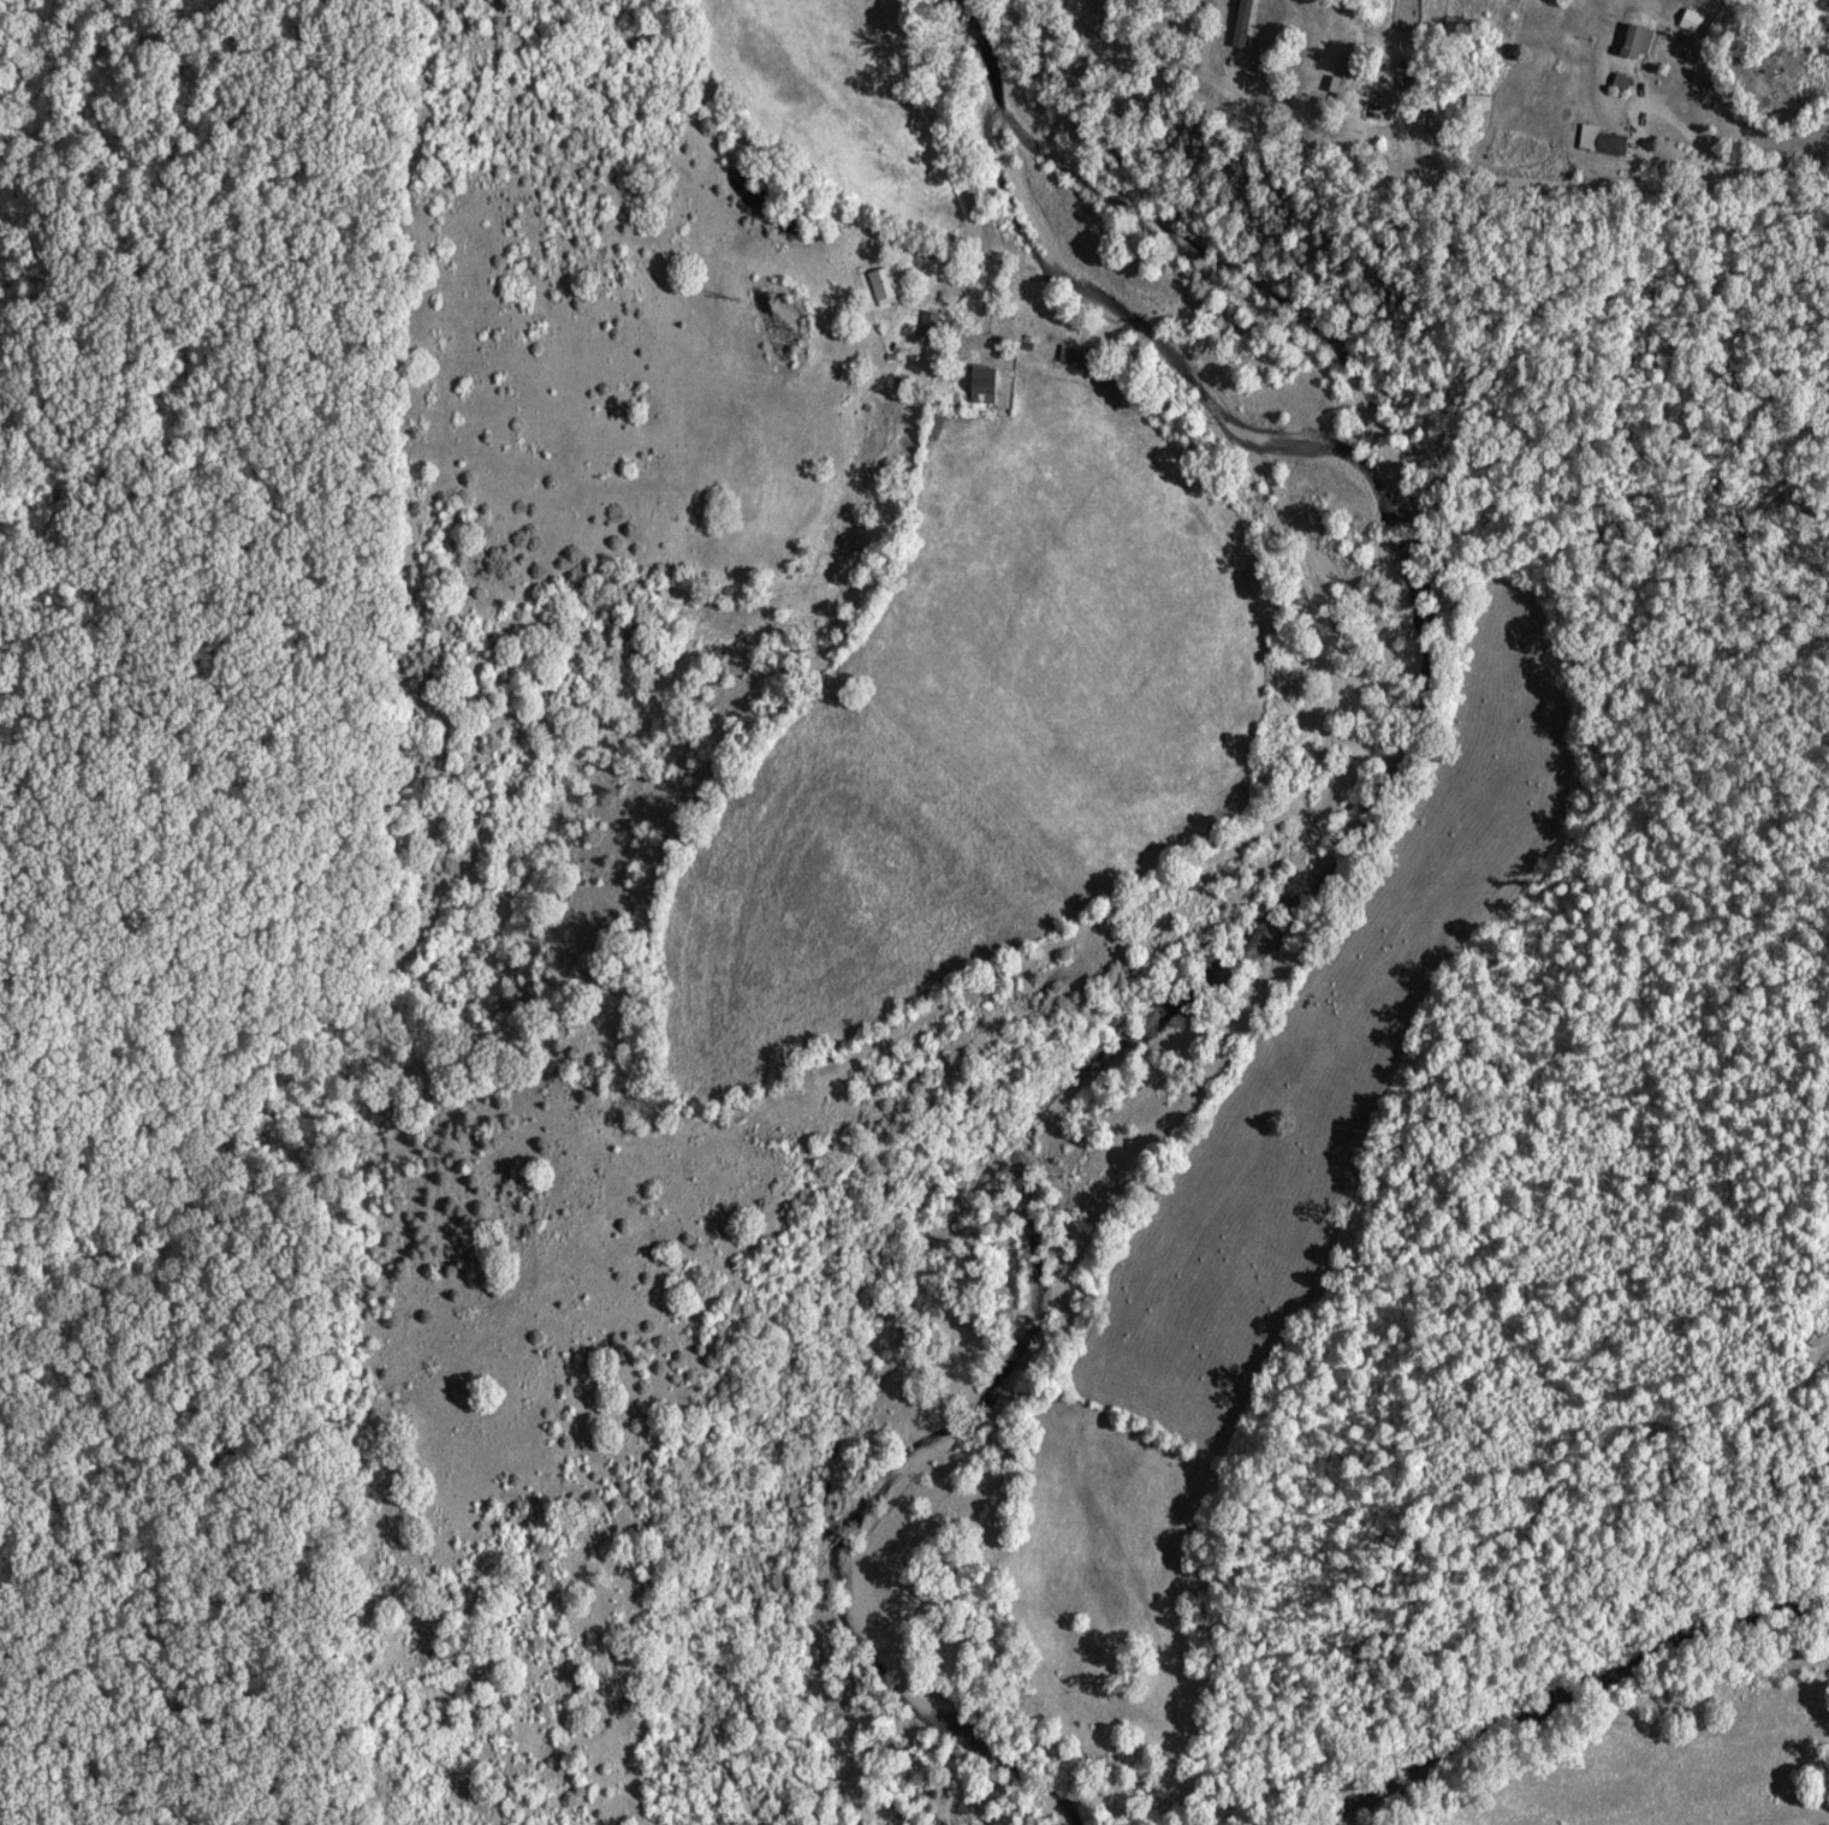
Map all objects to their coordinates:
building: (1698, 19)
building: (1645, 38)
building: (1353, 78)
building: (1486, 100)
road: (1674, 121)
building: (1609, 138)
road: (951, 167)
road: (1734, 167)
road: (1420, 191)
building: (892, 284)
building: (1082, 352)

